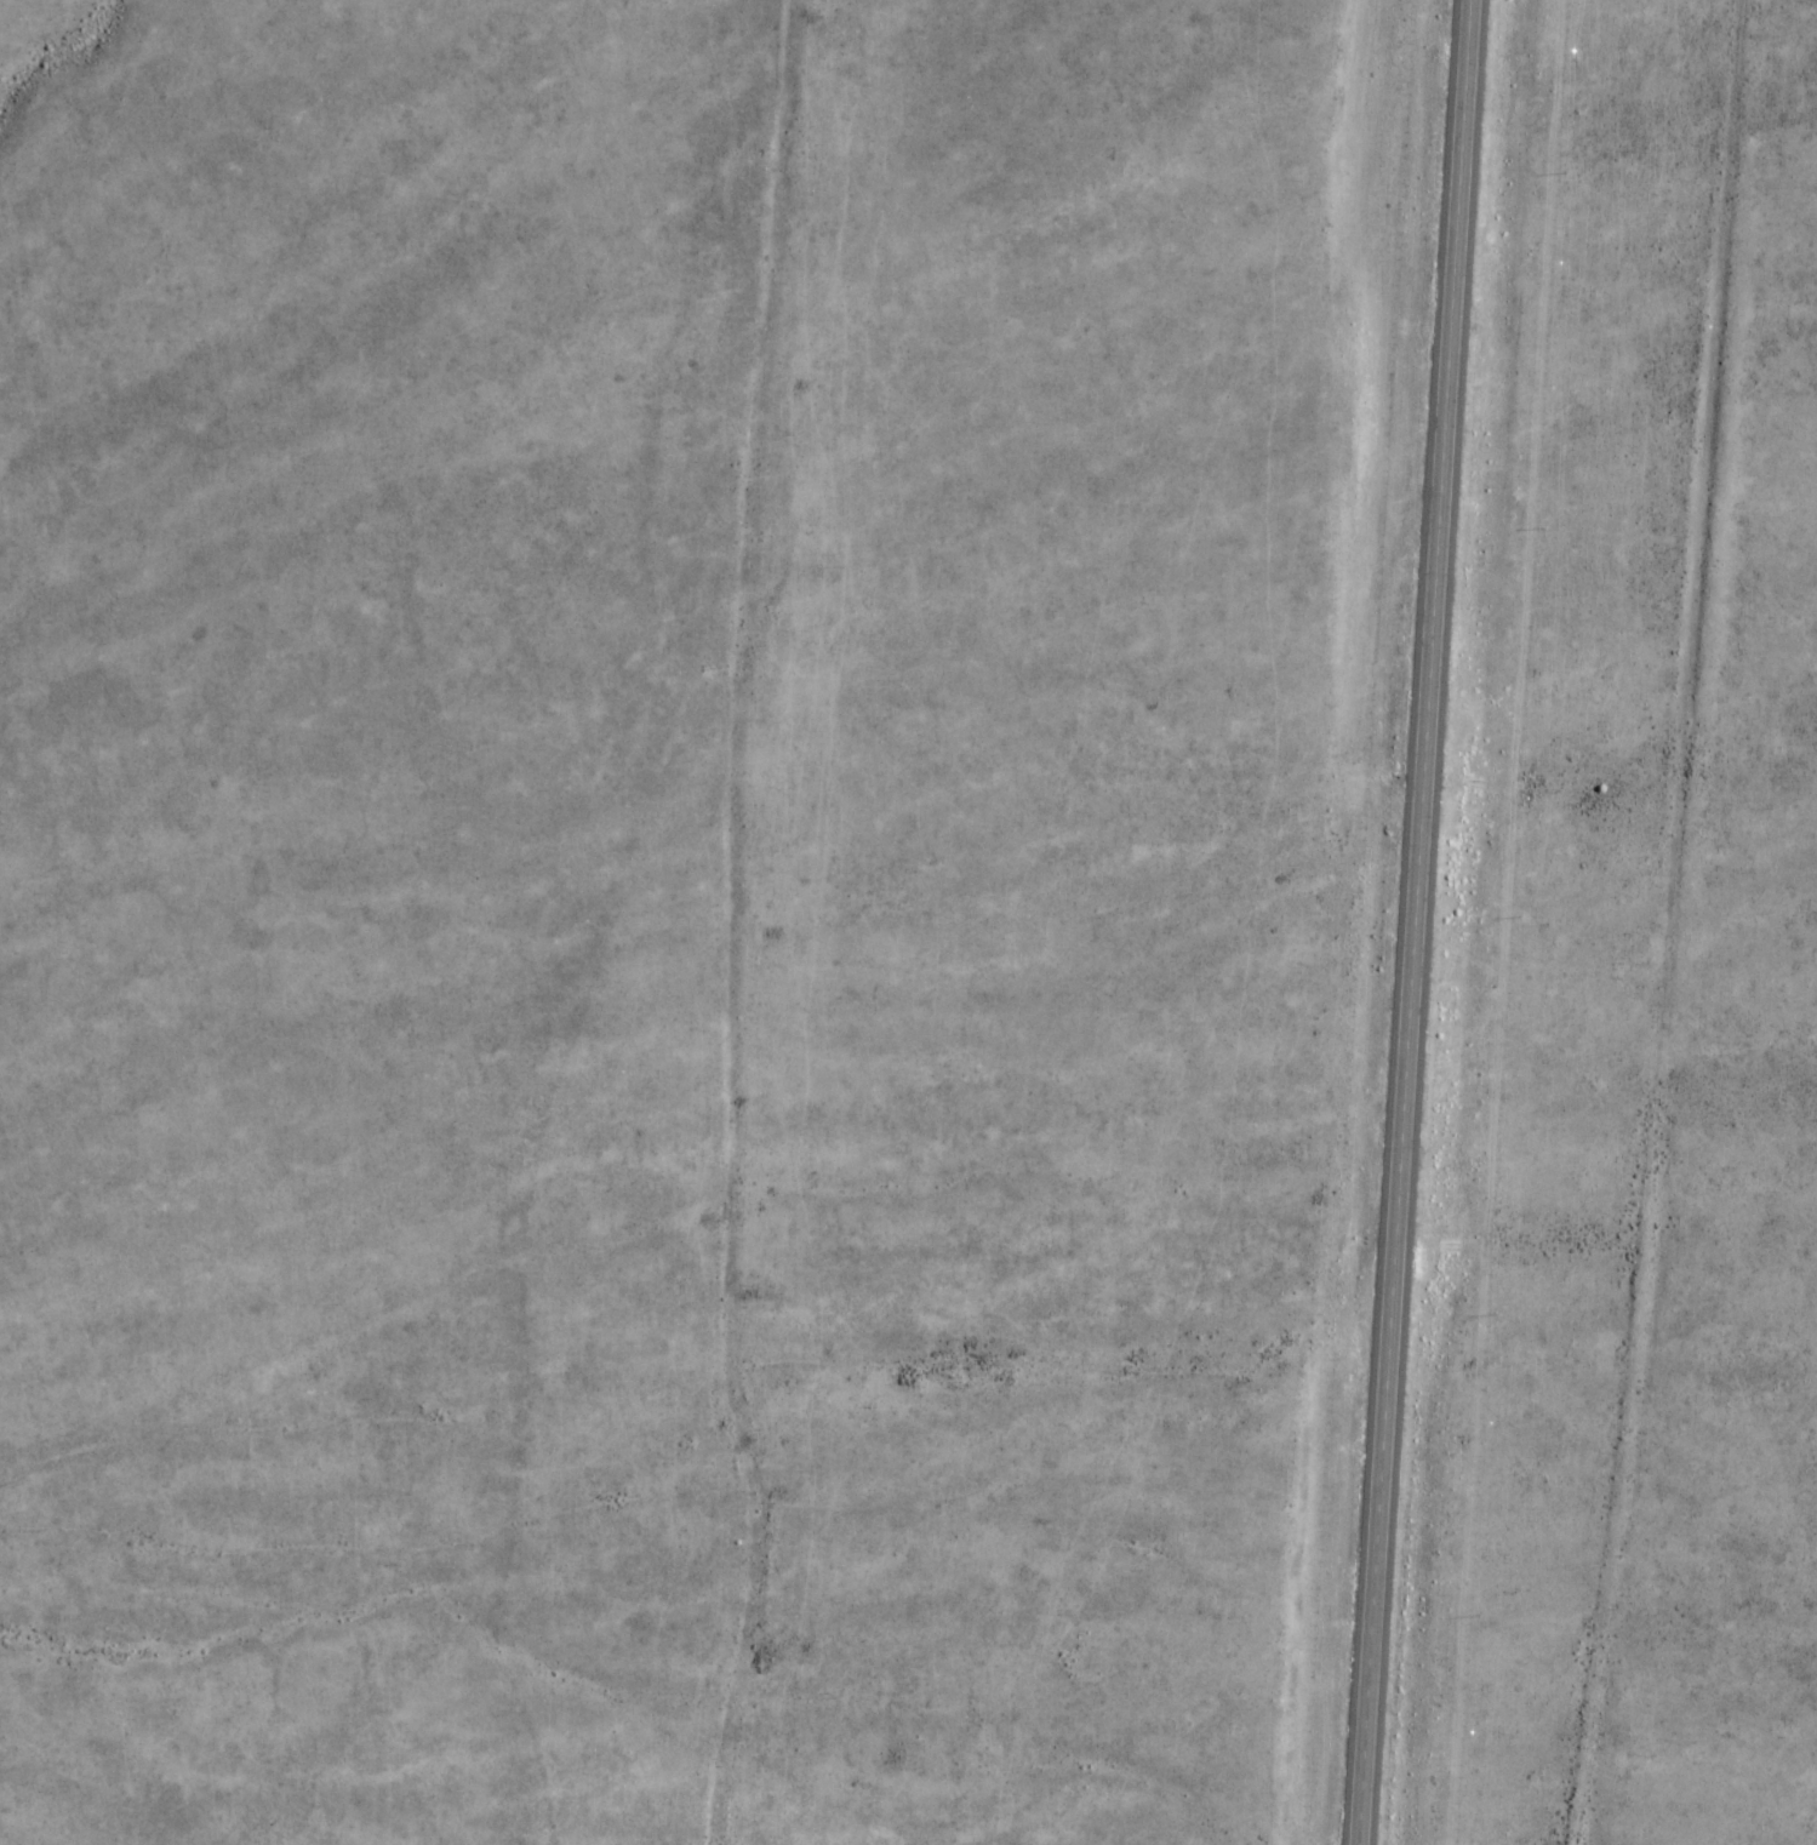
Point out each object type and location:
road: (1413, 922)

